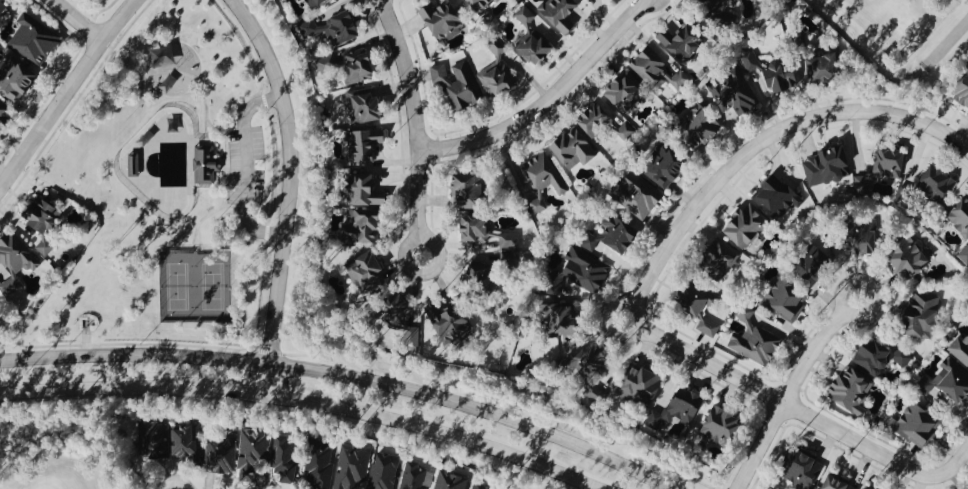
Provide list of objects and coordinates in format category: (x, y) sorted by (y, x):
building: (300, 0)
building: (315, 3)
building: (3, 5)
building: (482, 5)
building: (721, 5)
building: (561, 13)
building: (526, 15)
building: (444, 19)
road: (77, 21)
crop: (884, 26)
building: (335, 27)
building: (35, 39)
building: (683, 41)
road: (945, 43)
building: (538, 46)
building: (751, 60)
building: (328, 63)
building: (359, 65)
building: (825, 67)
building: (657, 68)
building: (499, 71)
building: (783, 75)
building: (16, 78)
building: (458, 85)
building: (963, 90)
building: (626, 92)
building: (735, 92)
road: (66, 94)
road: (549, 102)
building: (366, 105)
building: (5, 113)
building: (597, 119)
building: (701, 125)
road: (416, 126)
road: (946, 136)
building: (364, 144)
building: (575, 148)
road: (742, 158)
building: (135, 164)
building: (207, 164)
building: (829, 165)
building: (666, 166)
building: (882, 168)
road: (245, 169)
building: (544, 173)
building: (938, 183)
park: (166, 190)
building: (365, 190)
building: (470, 190)
road: (288, 195)
building: (639, 196)
building: (777, 196)
building: (539, 202)
building: (43, 214)
building: (960, 216)
building: (747, 225)
building: (363, 226)
building: (477, 228)
building: (620, 232)
building: (863, 238)
building: (590, 242)
building: (509, 245)
building: (45, 246)
building: (722, 256)
building: (909, 257)
building: (15, 261)
building: (815, 264)
building: (367, 268)
building: (581, 271)
building: (483, 274)
building: (698, 297)
building: (786, 298)
building: (923, 313)
building: (400, 315)
building: (450, 319)
building: (709, 326)
building: (757, 343)
building: (960, 349)
building: (882, 356)
building: (589, 366)
road: (344, 376)
building: (949, 380)
building: (641, 385)
road: (792, 389)
building: (852, 389)
road: (100, 396)
road: (232, 402)
road: (779, 404)
building: (681, 407)
building: (722, 424)
building: (917, 425)
road: (424, 437)
building: (155, 439)
building: (188, 440)
building: (254, 452)
building: (223, 454)
building: (285, 457)
park: (55, 462)
building: (321, 466)
road: (954, 466)
building: (353, 467)
building: (385, 470)
building: (805, 470)
building: (416, 476)
building: (452, 481)
building: (838, 483)
building: (480, 486)
building: (870, 487)

